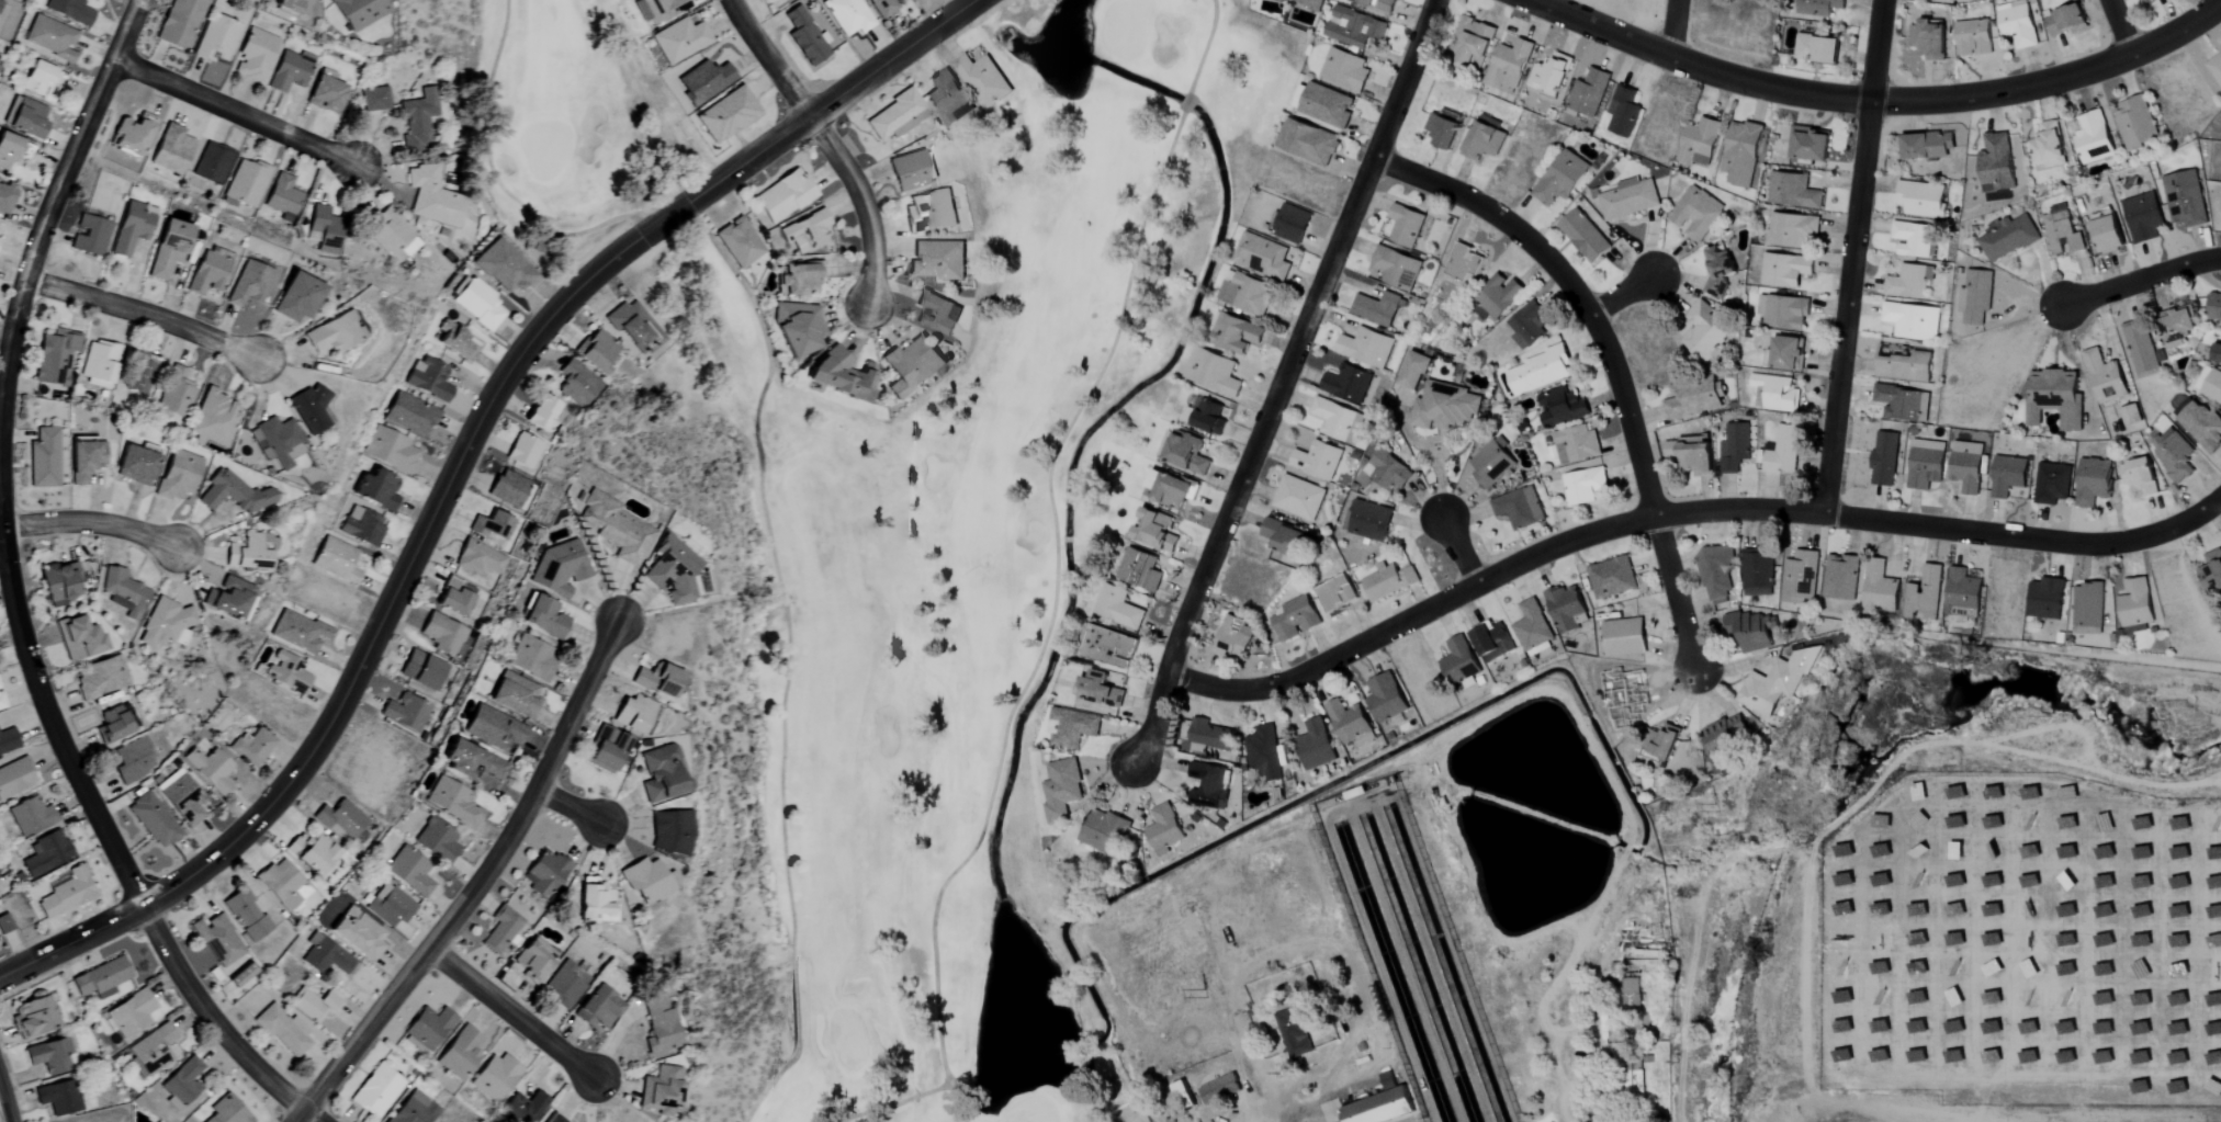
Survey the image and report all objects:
building: (1968, 0)
building: (0, 2)
building: (1309, 3)
building: (1378, 4)
building: (294, 7)
building: (1818, 7)
building: (881, 8)
building: (658, 10)
building: (69, 11)
building: (358, 12)
building: (847, 16)
building: (2066, 21)
building: (179, 23)
building: (2017, 24)
building: (1354, 27)
road: (1673, 29)
road: (2120, 30)
building: (805, 37)
building: (49, 38)
building: (1972, 38)
building: (215, 39)
building: (679, 41)
building: (1928, 41)
building: (1472, 42)
building: (1817, 49)
road: (1878, 50)
building: (255, 56)
building: (1512, 63)
building: (2216, 68)
building: (1344, 70)
building: (290, 71)
building: (1551, 75)
building: (41, 79)
building: (982, 80)
building: (703, 82)
building: (1588, 93)
building: (326, 95)
building: (374, 99)
building: (947, 99)
road: (1878, 100)
building: (1326, 106)
building: (1623, 112)
road: (238, 113)
building: (728, 115)
building: (897, 117)
building: (26, 120)
building: (418, 122)
building: (2135, 123)
building: (1442, 132)
building: (132, 135)
building: (2093, 138)
building: (1484, 139)
road: (831, 141)
building: (1307, 143)
building: (1699, 143)
building: (1810, 145)
building: (1928, 146)
building: (2048, 146)
building: (170, 150)
building: (7, 151)
building: (1741, 155)
building: (212, 163)
building: (1996, 163)
building: (910, 171)
building: (1562, 179)
building: (246, 183)
building: (1793, 192)
building: (783, 195)
building: (5, 196)
building: (431, 197)
building: (283, 199)
building: (1630, 200)
building: (1921, 200)
building: (2185, 200)
building: (2219, 203)
road: (50, 211)
building: (929, 211)
building: (1695, 214)
building: (2143, 218)
building: (1292, 223)
building: (1405, 225)
building: (129, 228)
building: (324, 229)
building: (1793, 230)
building: (804, 231)
building: (2062, 231)
building: (2108, 235)
building: (89, 236)
building: (390, 237)
building: (1583, 237)
building: (2008, 238)
building: (1912, 240)
building: (739, 243)
building: (168, 249)
building: (1262, 256)
building: (937, 260)
building: (1464, 262)
building: (504, 267)
building: (1395, 268)
building: (1718, 269)
building: (208, 271)
building: (1785, 271)
building: (798, 279)
road: (2143, 280)
building: (1908, 282)
building: (246, 284)
building: (1251, 294)
building: (1498, 295)
road: (1623, 295)
building: (294, 297)
building: (1976, 297)
building: (477, 304)
road: (1849, 306)
building: (2213, 306)
building: (1376, 308)
building: (937, 313)
building: (1783, 313)
road: (143, 315)
building: (1910, 321)
building: (2177, 324)
building: (1527, 325)
building: (634, 326)
building: (797, 327)
building: (1704, 331)
building: (1234, 333)
building: (328, 335)
building: (456, 341)
building: (1365, 347)
building: (2141, 348)
building: (597, 350)
building: (2217, 352)
building: (1788, 353)
building: (55, 356)
road: (1611, 362)
building: (98, 363)
building: (912, 365)
building: (1903, 365)
building: (1413, 371)
building: (1538, 371)
building: (1211, 372)
building: (841, 374)
building: (2105, 377)
building: (429, 378)
road: (1284, 381)
building: (1346, 383)
building: (576, 384)
building: (2212, 386)
building: (176, 392)
building: (1774, 393)
building: (1692, 398)
building: (2055, 398)
building: (1902, 403)
building: (1446, 405)
building: (1560, 406)
building: (308, 409)
building: (543, 412)
building: (410, 415)
building: (2130, 415)
building: (1206, 416)
building: (212, 418)
building: (1337, 420)
building: (2201, 423)
building: (274, 441)
building: (1574, 444)
building: (1735, 447)
building: (391, 450)
building: (525, 450)
building: (1783, 451)
building: (1185, 452)
building: (2173, 453)
building: (1696, 454)
building: (43, 458)
building: (1884, 458)
building: (1317, 460)
building: (83, 461)
building: (1490, 464)
building: (1925, 464)
building: (135, 465)
road: (455, 467)
building: (1965, 467)
building: (1385, 472)
building: (2008, 475)
building: (177, 476)
building: (2139, 477)
building: (2094, 481)
building: (2052, 483)
building: (1583, 485)
building: (509, 488)
building: (377, 489)
building: (1173, 490)
building: (230, 494)
building: (1298, 498)
park: (899, 506)
building: (1519, 508)
road: (2197, 509)
road: (1653, 514)
building: (1369, 521)
road: (91, 524)
building: (362, 525)
building: (492, 525)
building: (616, 526)
building: (1154, 530)
building: (1283, 539)
road: (1459, 551)
building: (248, 552)
building: (478, 559)
building: (336, 560)
building: (557, 568)
building: (1138, 569)
building: (673, 570)
building: (1757, 571)
building: (2211, 571)
building: (1716, 574)
building: (1611, 577)
building: (1800, 577)
building: (1841, 577)
building: (1388, 581)
building: (59, 583)
building: (1880, 591)
building: (123, 592)
building: (1337, 593)
building: (1924, 593)
building: (1962, 593)
building: (228, 598)
building: (453, 598)
building: (2045, 598)
building: (1117, 607)
building: (2135, 607)
building: (1566, 608)
building: (2087, 608)
building: (542, 617)
building: (1294, 619)
building: (165, 624)
building: (1532, 626)
building: (298, 632)
building: (1754, 632)
building: (443, 635)
building: (79, 637)
building: (1624, 637)
building: (1232, 638)
building: (1492, 642)
building: (1109, 647)
building: (529, 658)
building: (1458, 660)
building: (421, 670)
building: (286, 672)
building: (101, 678)
building: (657, 680)
building: (1778, 681)
building: (1098, 689)
building: (512, 694)
building: (1385, 698)
building: (1, 703)
building: (406, 713)
building: (633, 714)
building: (1348, 721)
building: (110, 723)
building: (1072, 727)
building: (492, 729)
building: (1726, 732)
building: (1211, 735)
building: (8, 740)
building: (1662, 741)
building: (1315, 745)
building: (250, 746)
building: (606, 750)
building: (1263, 752)
building: (132, 760)
building: (470, 761)
building: (208, 769)
building: (661, 774)
building: (14, 778)
building: (1208, 784)
building: (1061, 789)
building: (2034, 795)
building: (181, 800)
building: (450, 802)
power tower: (1716, 807)
road: (568, 808)
building: (30, 816)
building: (339, 819)
building: (153, 820)
building: (1918, 821)
building: (1955, 821)
building: (1993, 823)
building: (2029, 823)
building: (2067, 823)
building: (2142, 823)
building: (2179, 824)
road: (102, 827)
building: (1163, 830)
building: (1104, 831)
building: (670, 832)
building: (435, 840)
building: (1881, 850)
building: (1918, 851)
building: (2030, 851)
building: (2070, 851)
building: (2105, 852)
building: (2142, 852)
building: (2179, 852)
building: (2216, 852)
building: (46, 853)
building: (311, 853)
building: (2220, 862)
building: (408, 871)
building: (544, 873)
building: (645, 880)
building: (1884, 881)
building: (1917, 881)
building: (2067, 881)
building: (2105, 881)
road: (473, 882)
building: (2142, 882)
building: (2179, 882)
building: (2216, 882)
building: (282, 884)
building: (67, 894)
building: (594, 902)
building: (388, 906)
building: (1880, 909)
building: (1917, 909)
building: (1954, 909)
building: (1992, 910)
building: (2066, 910)
building: (2104, 910)
building: (2141, 910)
building: (2179, 911)
building: (246, 915)
building: (4, 925)
building: (2216, 928)
building: (501, 930)
building: (357, 933)
aquafarm: (1405, 938)
building: (1917, 939)
building: (217, 940)
building: (2066, 940)
building: (2104, 940)
building: (2141, 940)
building: (2178, 941)
solar farm: (2022, 943)
road: (1296, 944)
building: (324, 955)
building: (533, 961)
aquafarm: (1444, 962)
aquafarm: (1419, 966)
building: (1917, 967)
building: (1880, 968)
building: (2104, 970)
building: (2141, 970)
building: (2179, 970)
aquafarm: (1393, 973)
building: (240, 976)
building: (101, 978)
power tower: (1203, 994)
building: (1631, 995)
building: (1953, 997)
building: (2104, 998)
building: (2141, 999)
building: (2178, 999)
building: (313, 1005)
building: (598, 1009)
building: (131, 1013)
road: (514, 1013)
road: (1594, 1013)
building: (32, 1018)
building: (2216, 1018)
building: (1953, 1027)
building: (428, 1028)
building: (659, 1028)
building: (1991, 1028)
building: (2029, 1028)
building: (2104, 1028)
building: (2141, 1028)
building: (2181, 1029)
building: (283, 1031)
building: (1292, 1032)
building: (153, 1050)
building: (459, 1053)
building: (49, 1056)
building: (2102, 1057)
building: (2214, 1058)
building: (2140, 1059)
building: (2180, 1059)
building: (494, 1078)
building: (1633, 1081)
building: (181, 1084)
building: (2177, 1087)
building: (2214, 1087)
building: (376, 1090)
building: (1220, 1090)
building: (662, 1091)
building: (58, 1098)
building: (525, 1107)
building: (1379, 1108)
building: (414, 1109)
building: (226, 1111)
road: (1304, 1111)

